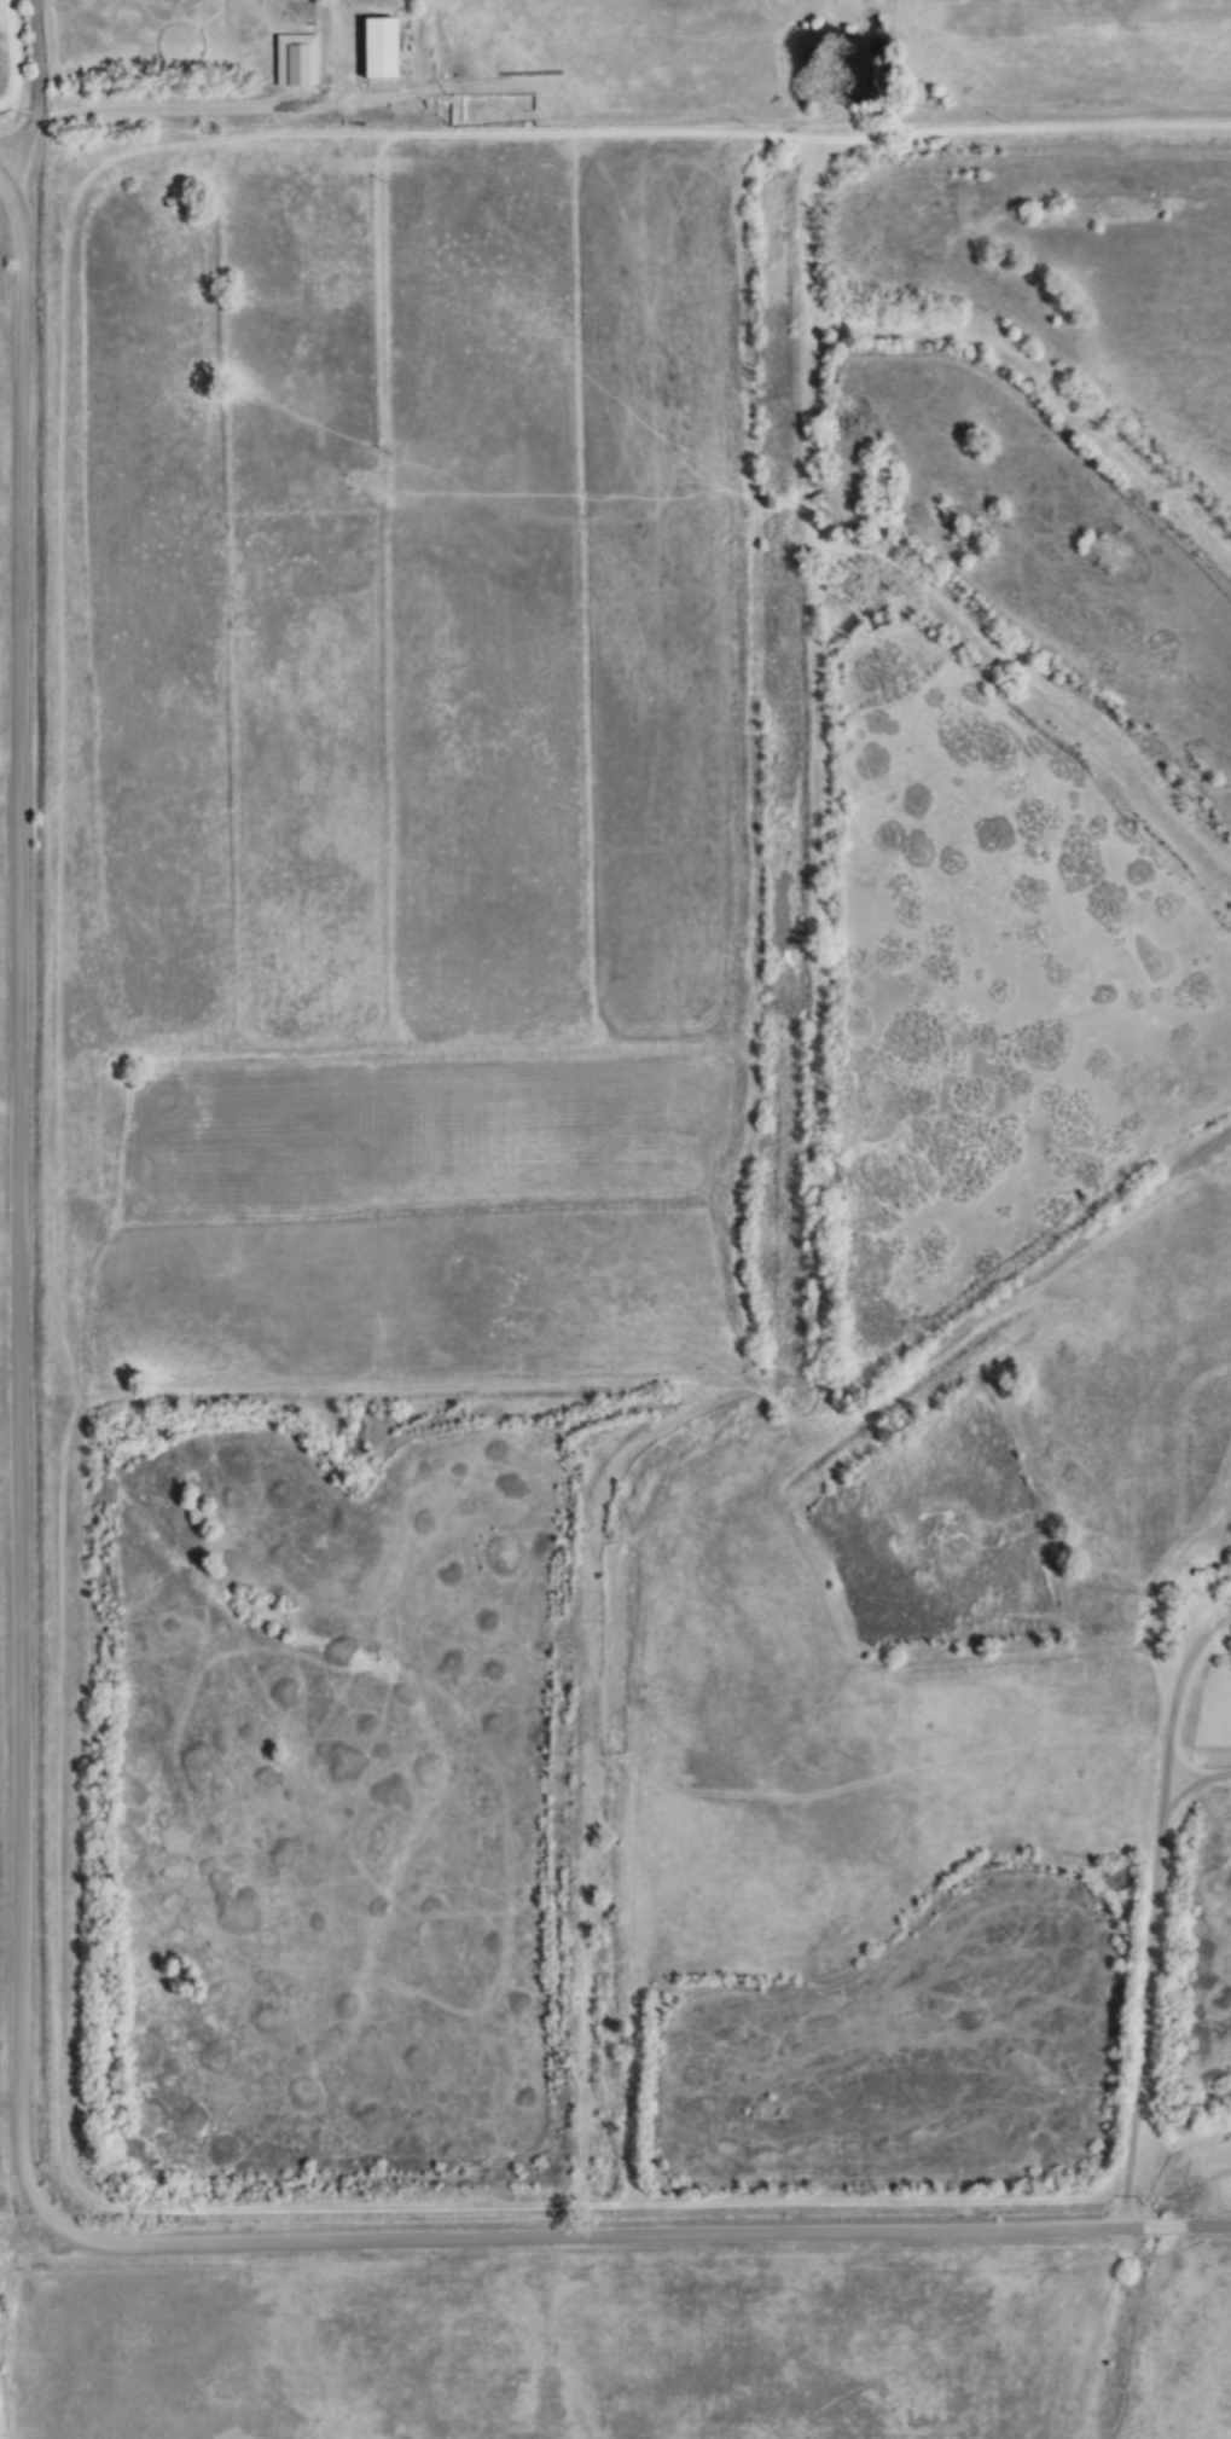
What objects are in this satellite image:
building: (377, 50)
road: (34, 62)
building: (294, 62)
road: (172, 109)
road: (23, 1797)
road: (1150, 1910)

